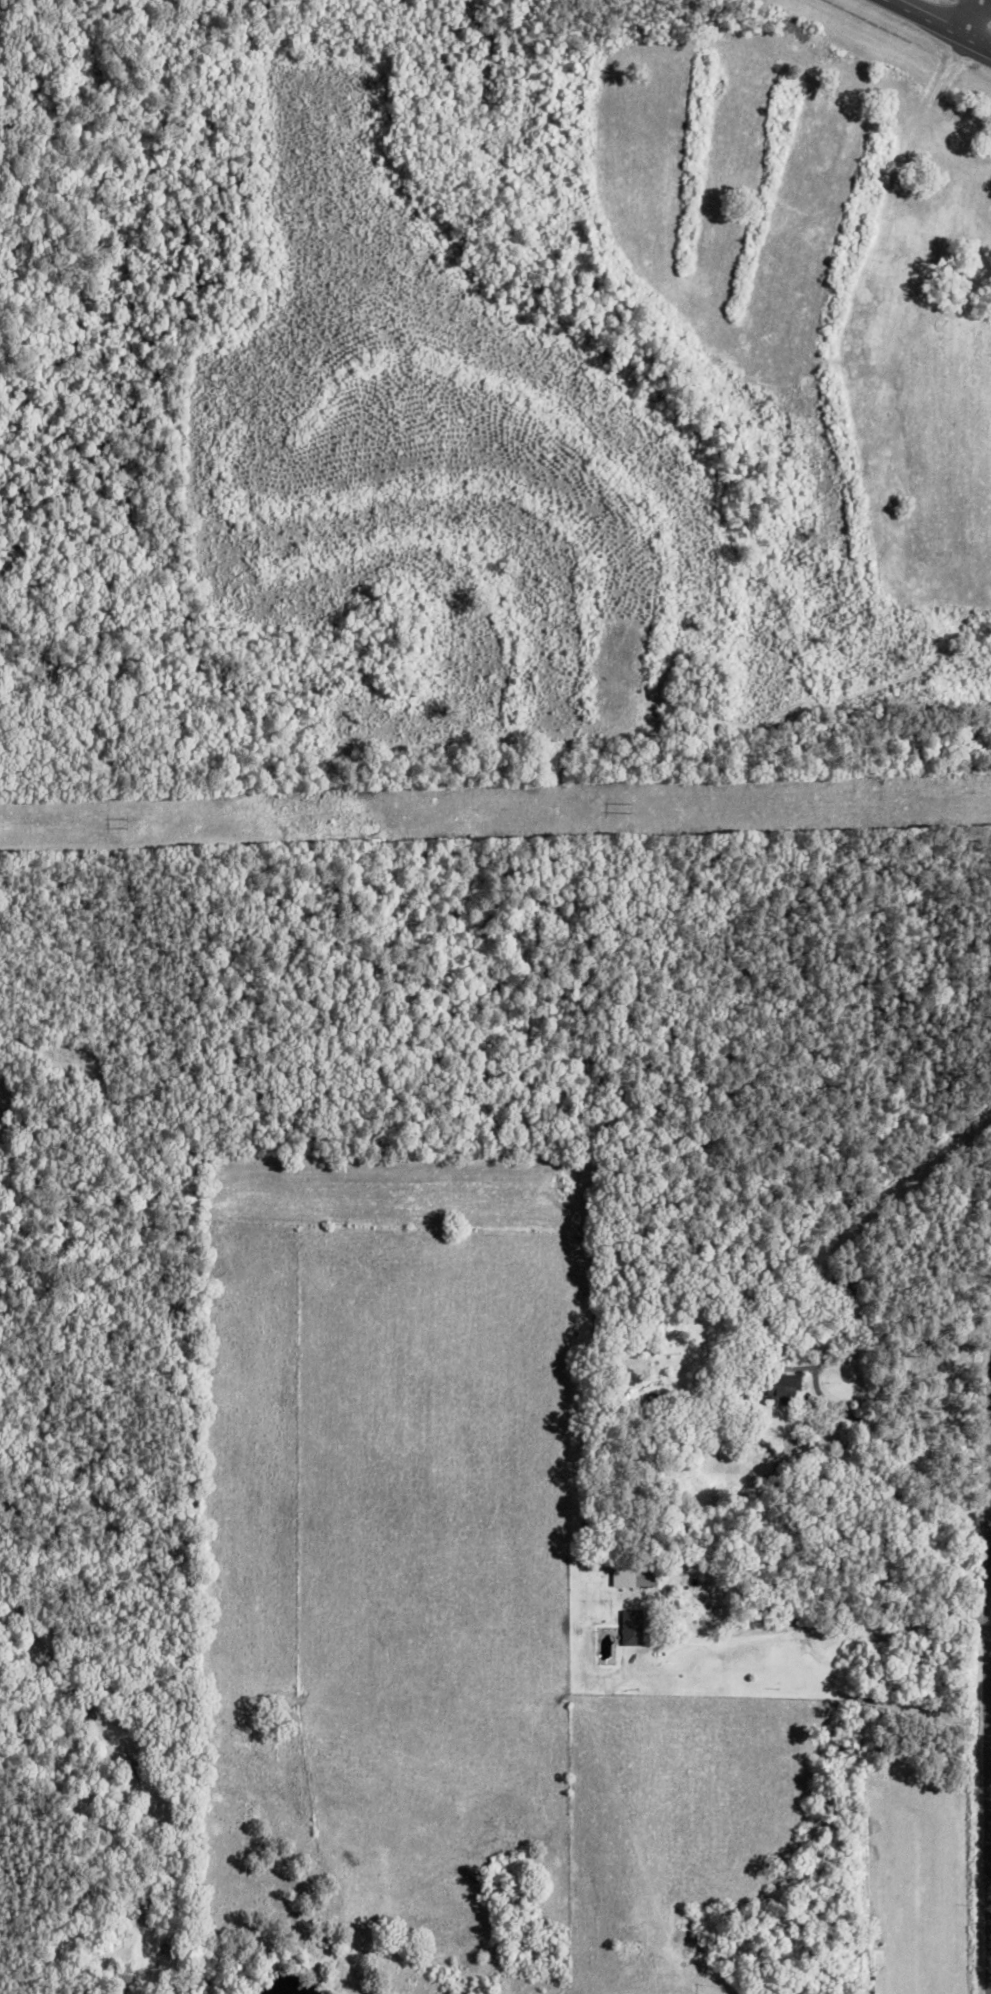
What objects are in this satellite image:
road: (969, 18)
road: (938, 25)
building: (788, 1389)
building: (634, 1575)
road: (827, 1626)
building: (632, 1627)
road: (990, 1723)

